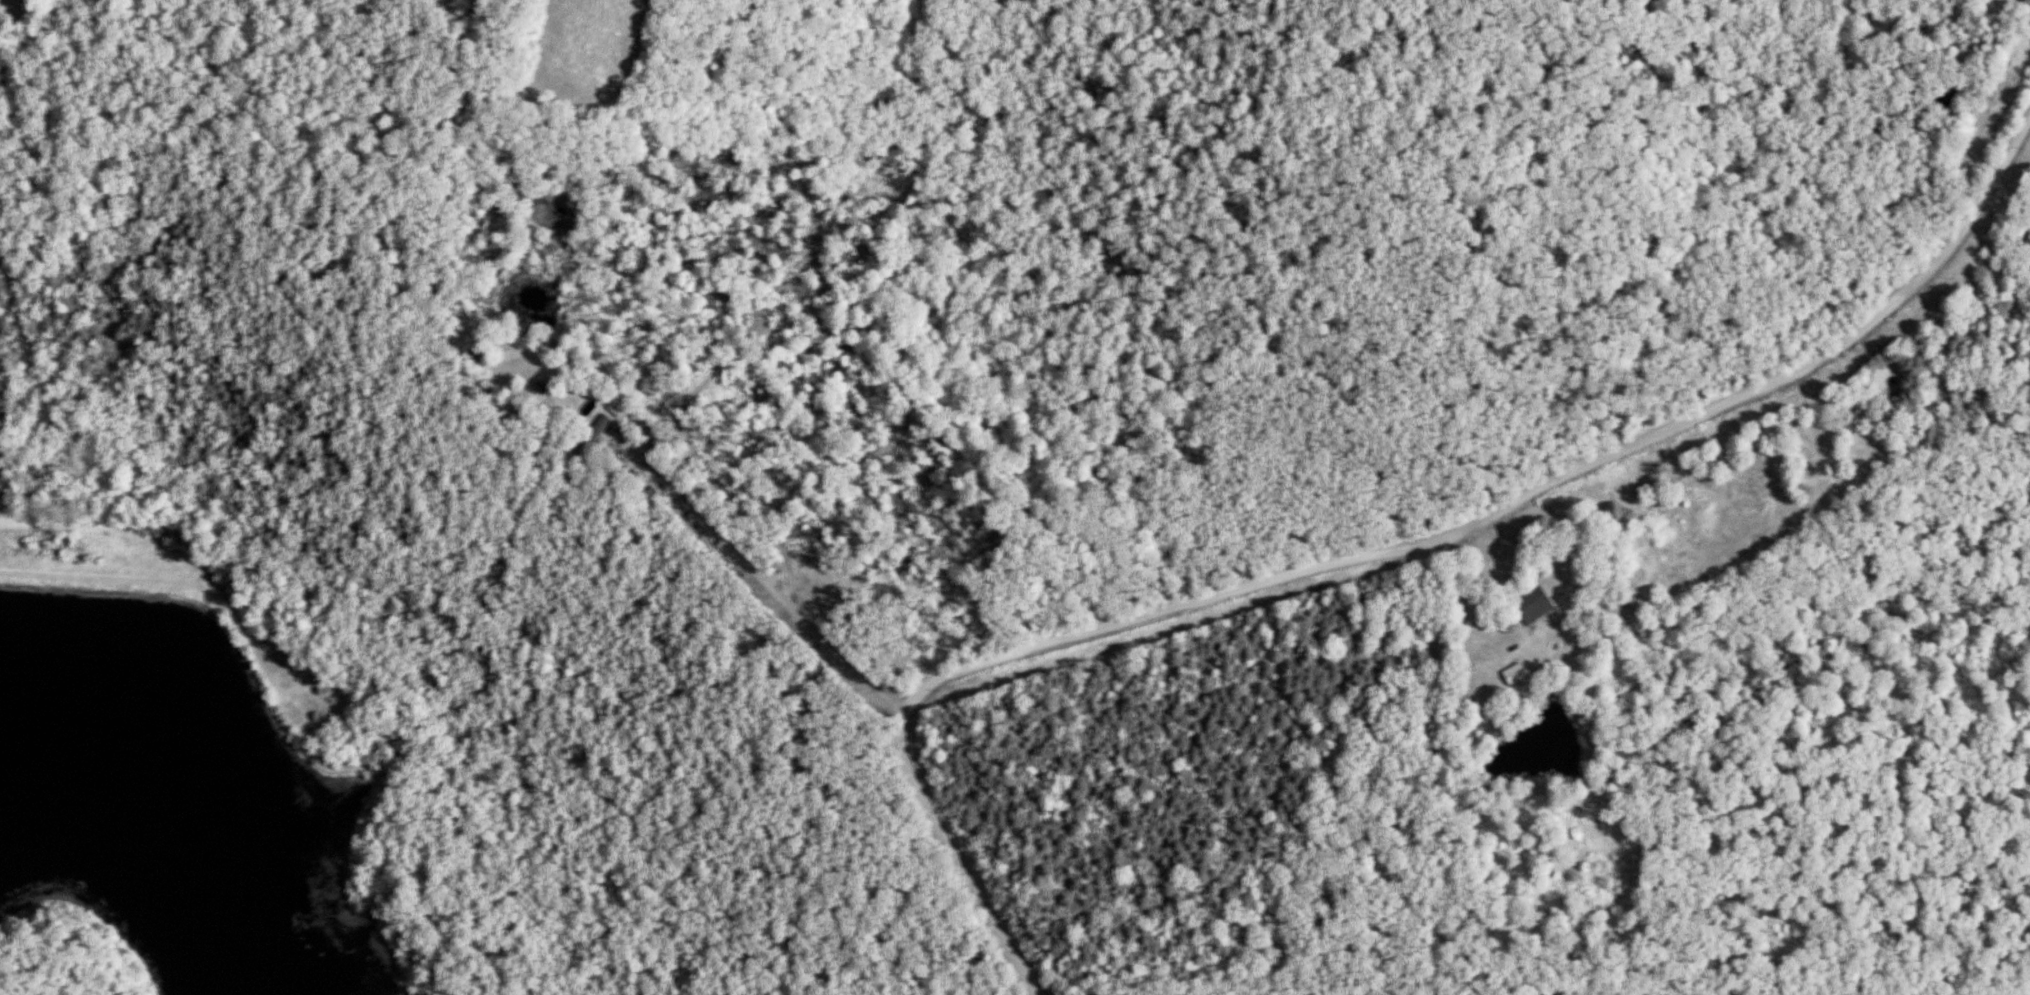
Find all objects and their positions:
building: (588, 437)
building: (647, 498)
road: (1369, 556)
road: (768, 587)
building: (1527, 606)
building: (1509, 675)

